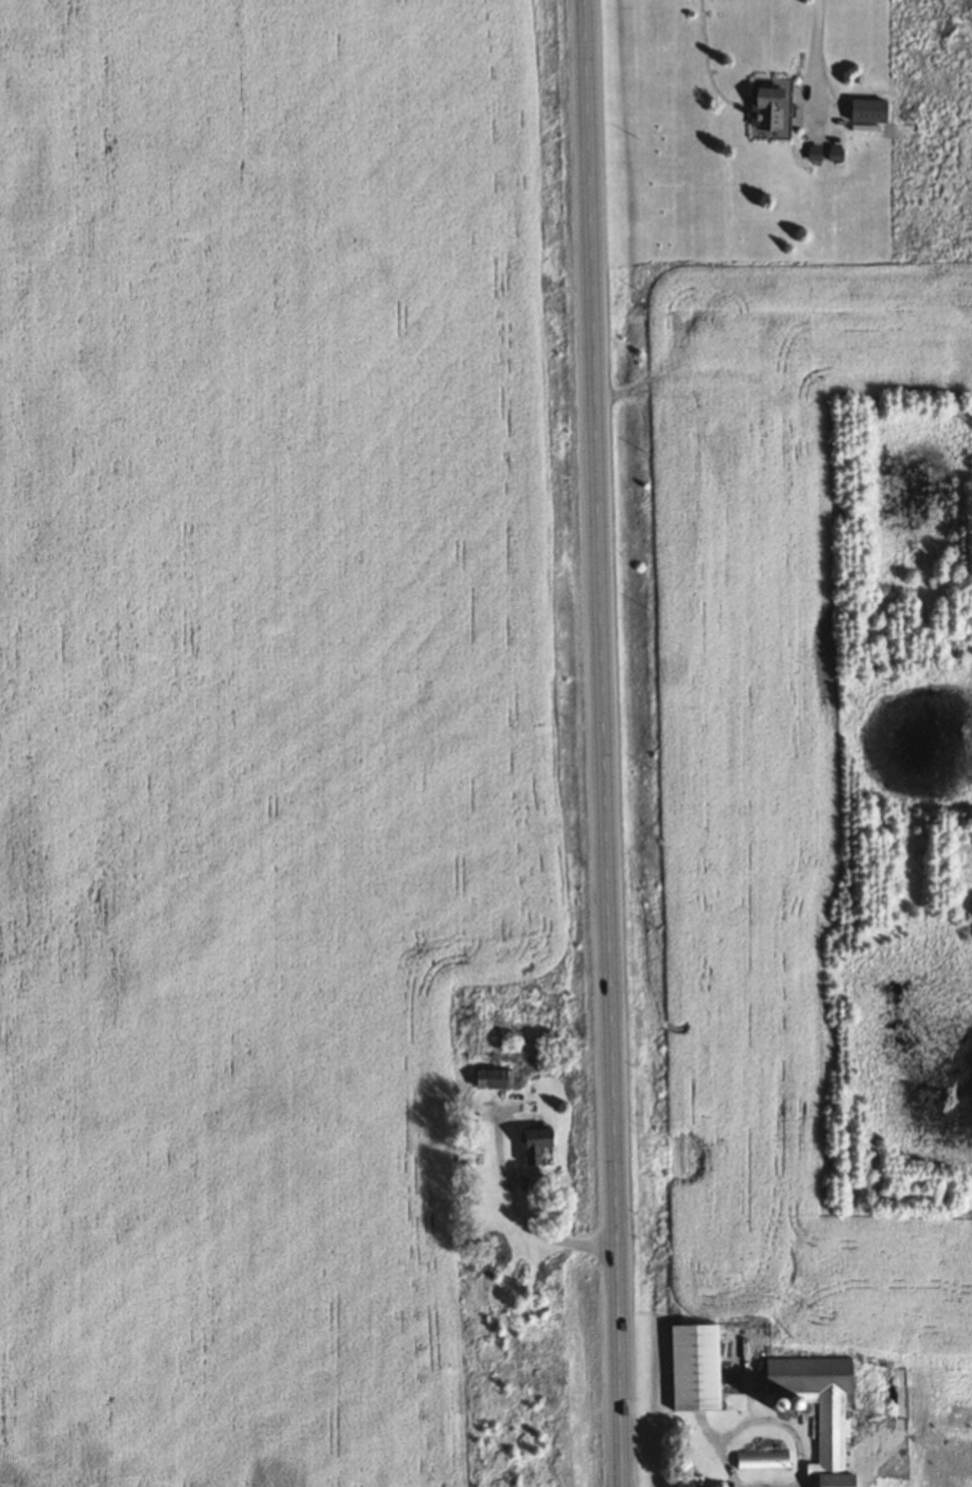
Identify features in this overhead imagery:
building: (763, 110)
building: (813, 152)
building: (832, 152)
road: (603, 743)
building: (491, 1079)
building: (532, 1144)
building: (492, 1247)
building: (692, 1367)
building: (816, 1406)
building: (698, 1484)

